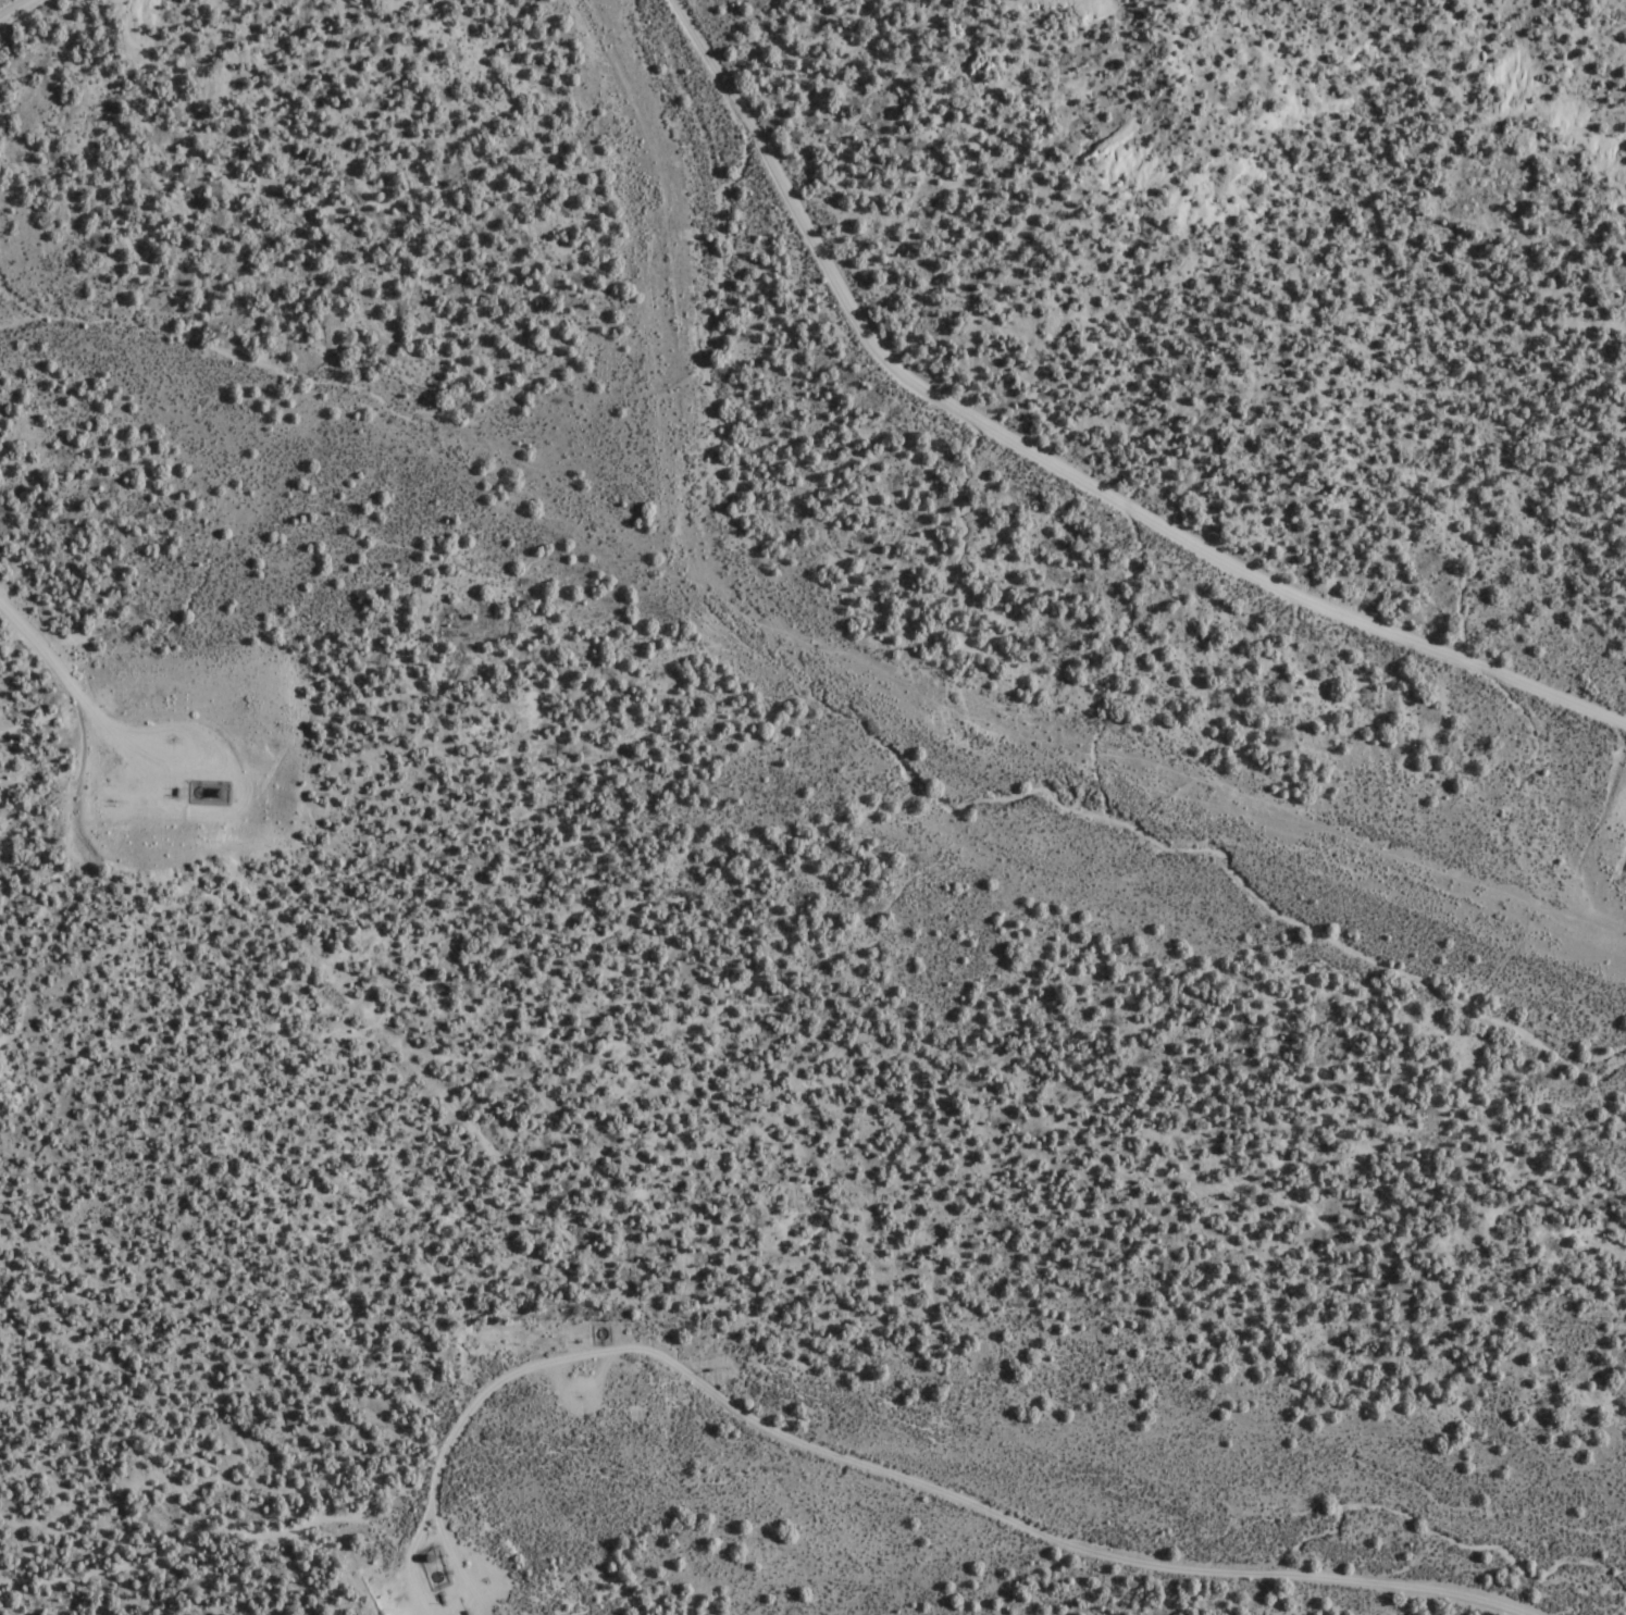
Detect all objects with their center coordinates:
road: (23, 15)
road: (1016, 490)
road: (843, 1481)

